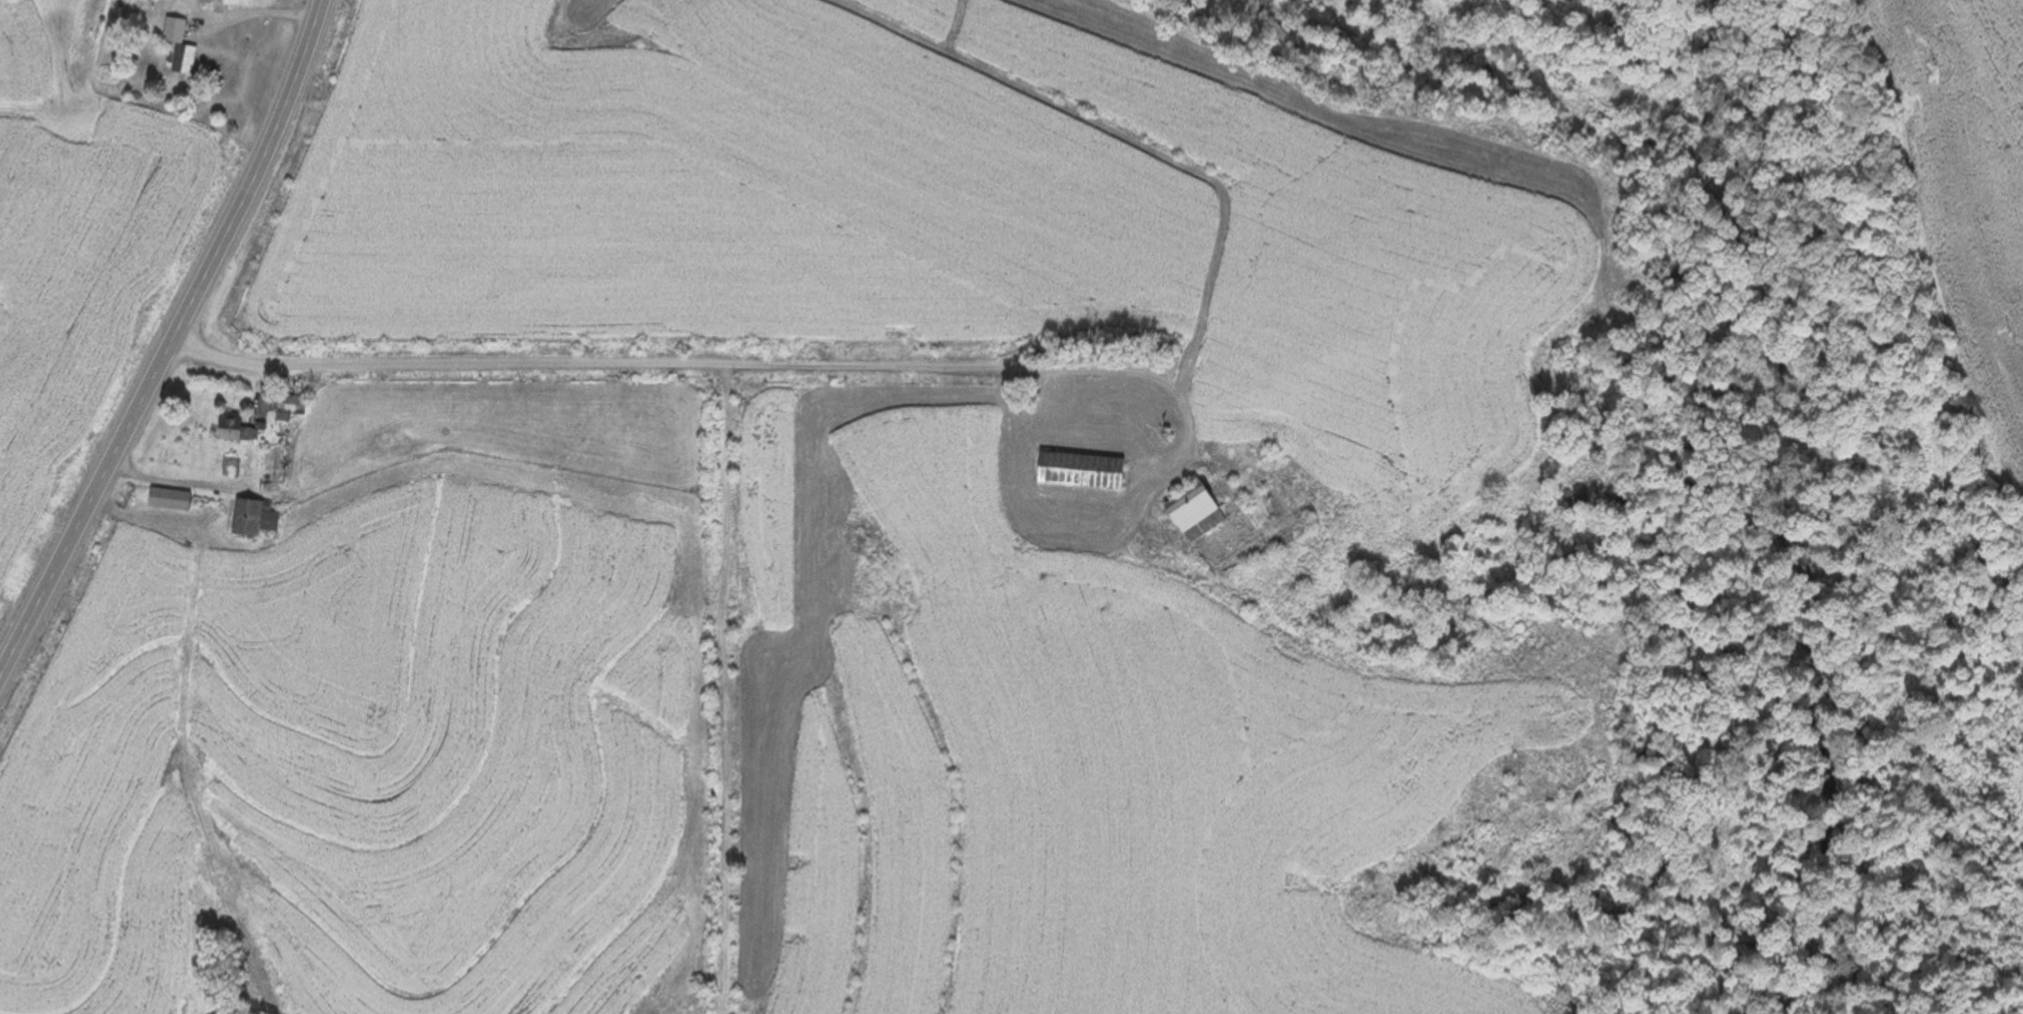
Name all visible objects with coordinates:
building: (177, 48)
road: (170, 344)
road: (639, 367)
building: (288, 406)
building: (233, 431)
building: (1076, 472)
building: (168, 499)
building: (1190, 514)
building: (253, 521)

